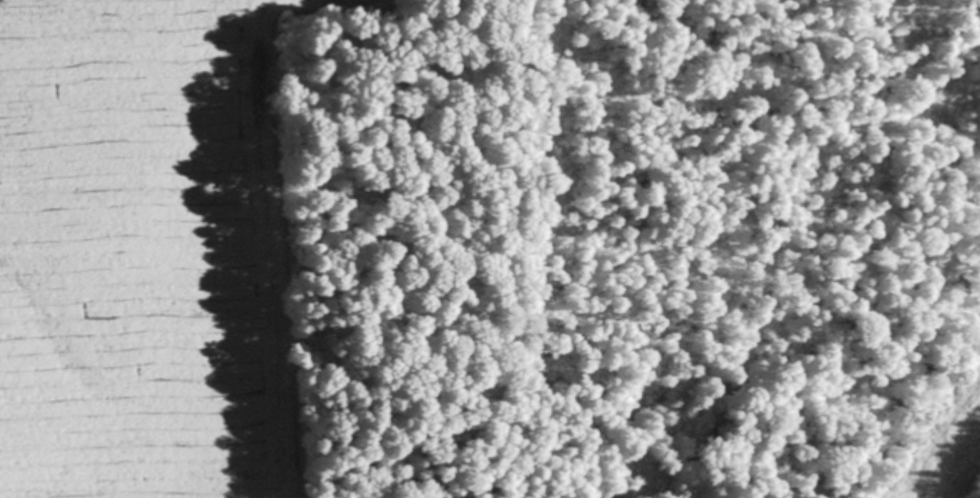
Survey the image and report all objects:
power tower: (928, 471)

